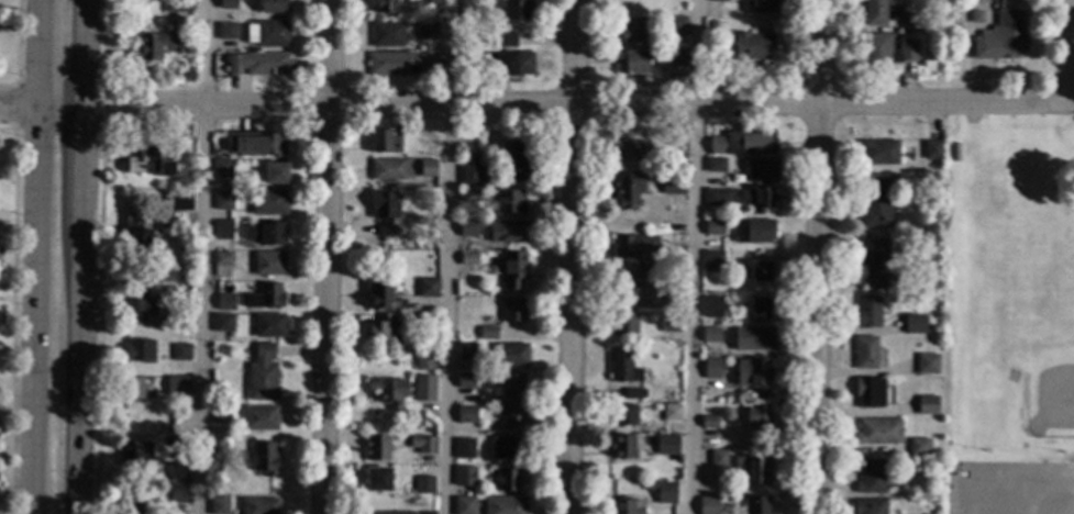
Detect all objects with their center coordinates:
building: (937, 0)
building: (224, 1)
building: (718, 1)
building: (434, 4)
building: (177, 5)
building: (272, 5)
building: (385, 7)
building: (761, 7)
building: (516, 11)
building: (875, 12)
building: (909, 23)
building: (711, 24)
building: (675, 25)
building: (427, 31)
building: (632, 31)
building: (226, 32)
building: (270, 34)
building: (387, 35)
building: (1001, 38)
building: (506, 41)
building: (158, 46)
building: (950, 46)
building: (753, 47)
road: (1066, 51)
building: (884, 52)
road: (81, 54)
building: (678, 58)
building: (259, 64)
building: (510, 64)
building: (633, 64)
road: (15, 65)
building: (398, 65)
road: (573, 104)
road: (40, 109)
building: (186, 136)
building: (384, 143)
building: (744, 143)
building: (255, 145)
building: (676, 149)
building: (628, 150)
building: (932, 150)
building: (878, 152)
building: (954, 152)
building: (521, 159)
building: (148, 163)
building: (716, 165)
building: (427, 168)
road: (79, 169)
building: (222, 169)
building: (387, 169)
building: (760, 171)
building: (275, 174)
building: (474, 177)
building: (672, 185)
building: (628, 193)
building: (468, 197)
building: (718, 198)
building: (757, 200)
building: (179, 201)
building: (222, 201)
building: (267, 202)
building: (876, 202)
building: (508, 203)
building: (669, 209)
building: (384, 212)
building: (712, 227)
building: (467, 228)
building: (507, 231)
building: (753, 231)
building: (222, 232)
building: (266, 234)
building: (137, 237)
building: (407, 245)
building: (633, 246)
road: (35, 256)
road: (202, 256)
road: (446, 256)
road: (326, 257)
road: (572, 257)
road: (694, 257)
road: (817, 257)
building: (467, 258)
building: (712, 260)
building: (680, 261)
building: (873, 261)
building: (268, 264)
building: (221, 265)
building: (512, 269)
building: (759, 271)
building: (642, 272)
building: (428, 288)
building: (671, 290)
building: (629, 292)
building: (265, 297)
building: (226, 299)
building: (381, 299)
building: (137, 305)
building: (711, 308)
building: (759, 308)
building: (185, 309)
building: (512, 310)
building: (867, 313)
building: (672, 320)
building: (222, 323)
building: (623, 324)
building: (914, 324)
building: (268, 326)
road: (76, 327)
building: (383, 331)
building: (487, 333)
building: (710, 335)
building: (753, 339)
building: (137, 351)
building: (180, 353)
building: (465, 353)
building: (867, 354)
building: (508, 355)
building: (424, 362)
building: (927, 365)
building: (622, 366)
building: (711, 368)
building: (181, 371)
building: (262, 375)
building: (753, 377)
building: (465, 380)
building: (181, 386)
building: (511, 387)
building: (423, 388)
building: (133, 389)
building: (388, 390)
building: (868, 393)
building: (633, 394)
building: (927, 405)
building: (671, 413)
building: (220, 415)
building: (465, 415)
building: (622, 415)
building: (757, 416)
building: (512, 417)
building: (259, 418)
building: (708, 422)
building: (877, 432)
building: (423, 445)
building: (666, 445)
building: (217, 447)
building: (622, 447)
building: (919, 447)
building: (376, 448)
building: (464, 448)
building: (507, 448)
building: (135, 454)
building: (263, 458)
building: (717, 459)
road: (74, 469)
building: (751, 469)
building: (177, 471)
building: (872, 476)
building: (464, 477)
building: (377, 479)
building: (508, 480)
building: (423, 485)
building: (662, 492)
road: (966, 492)
building: (177, 494)
building: (135, 500)
building: (464, 505)
building: (503, 505)
building: (708, 505)
building: (219, 506)
building: (258, 506)
building: (627, 506)
building: (756, 506)
building: (867, 506)
building: (400, 513)

